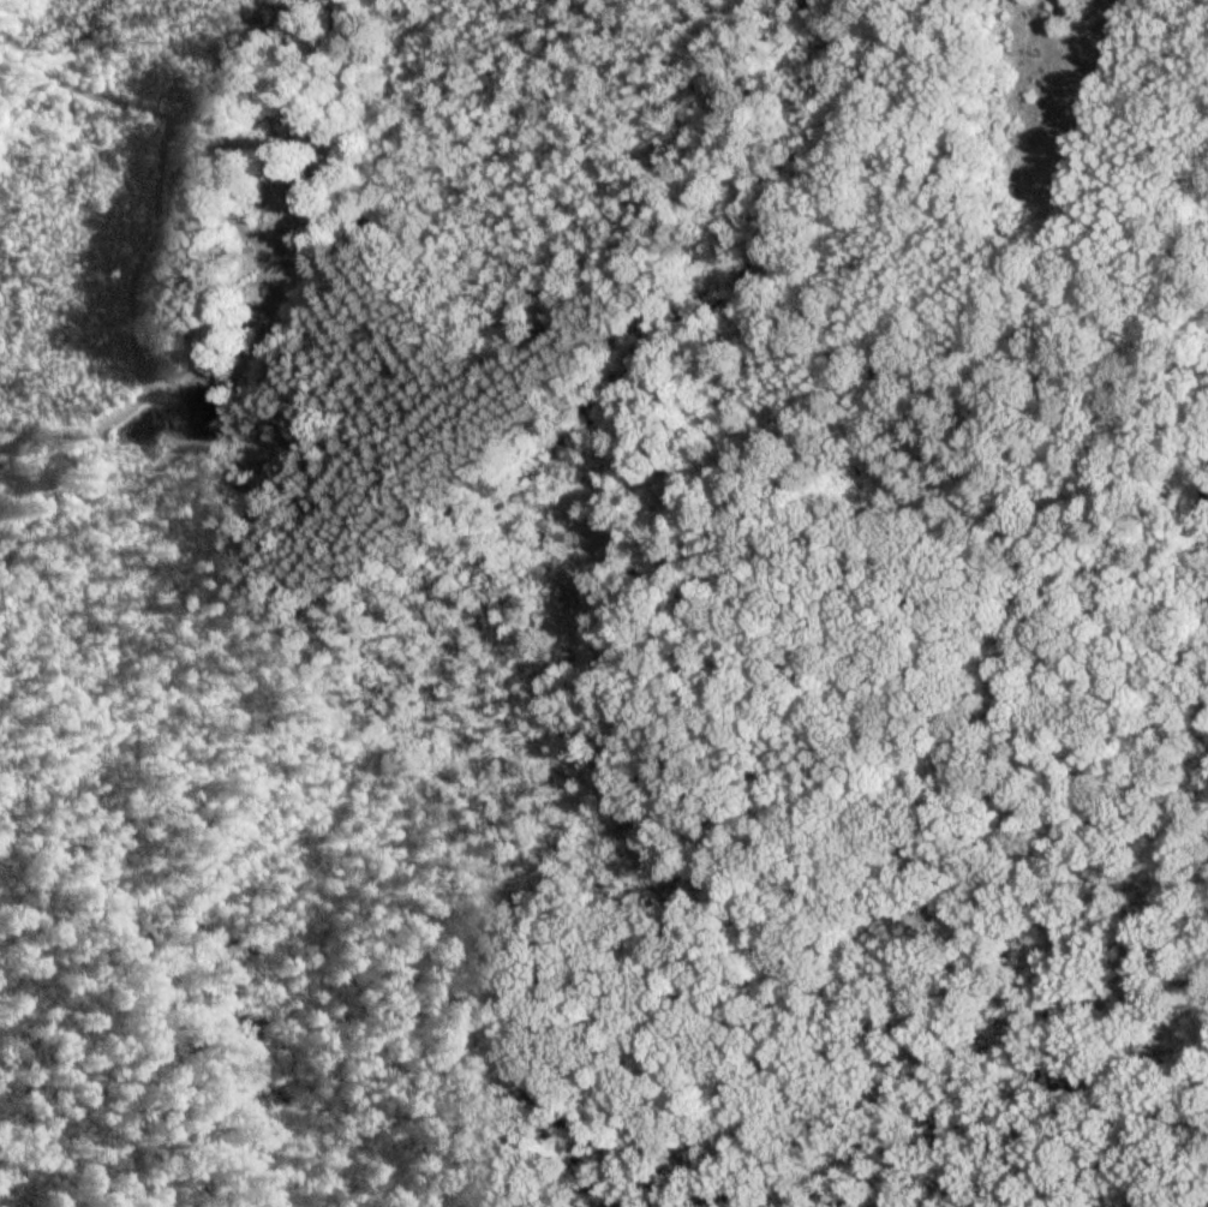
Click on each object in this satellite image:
road: (1094, 64)
road: (1018, 193)

